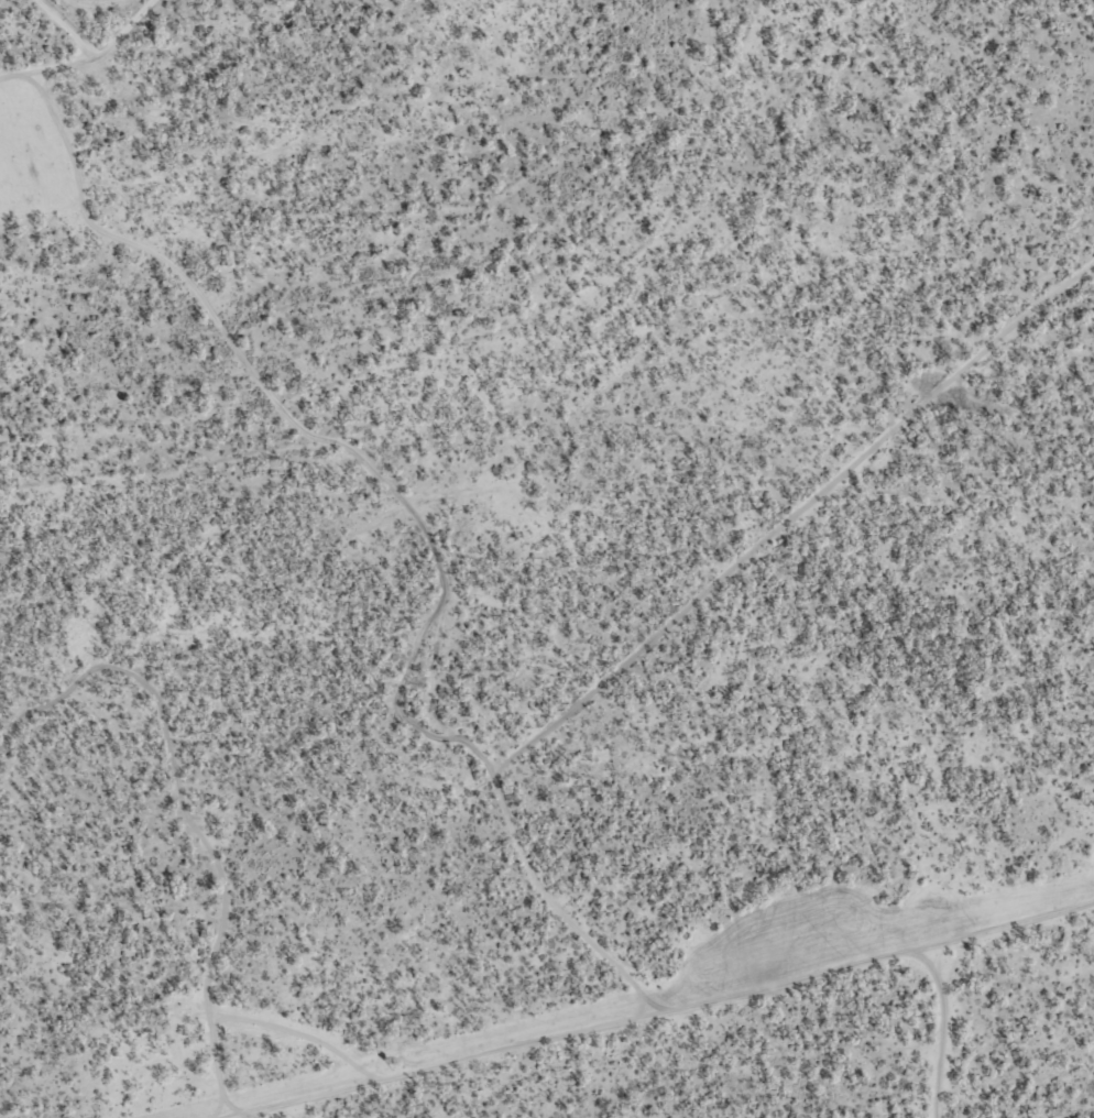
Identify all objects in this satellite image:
road: (79, 54)
road: (184, 866)

